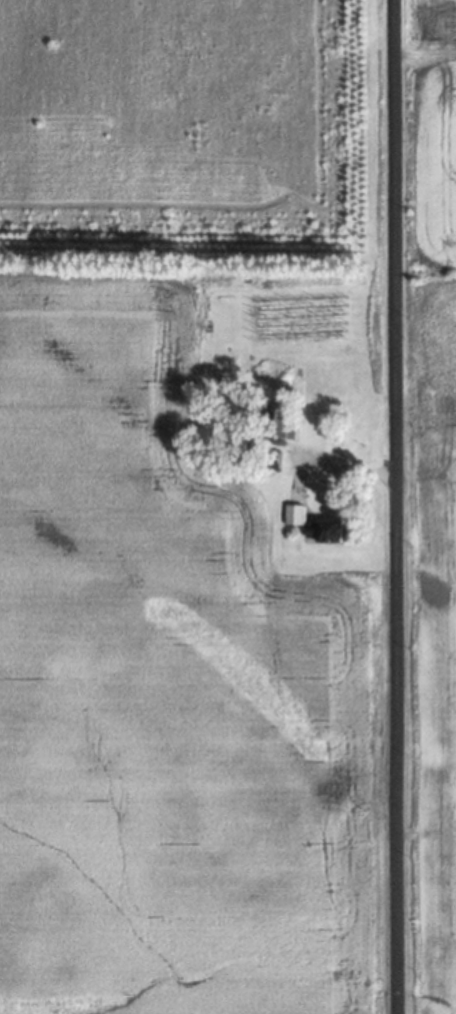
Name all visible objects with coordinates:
building: (280, 422)
road: (398, 506)
building: (313, 525)

